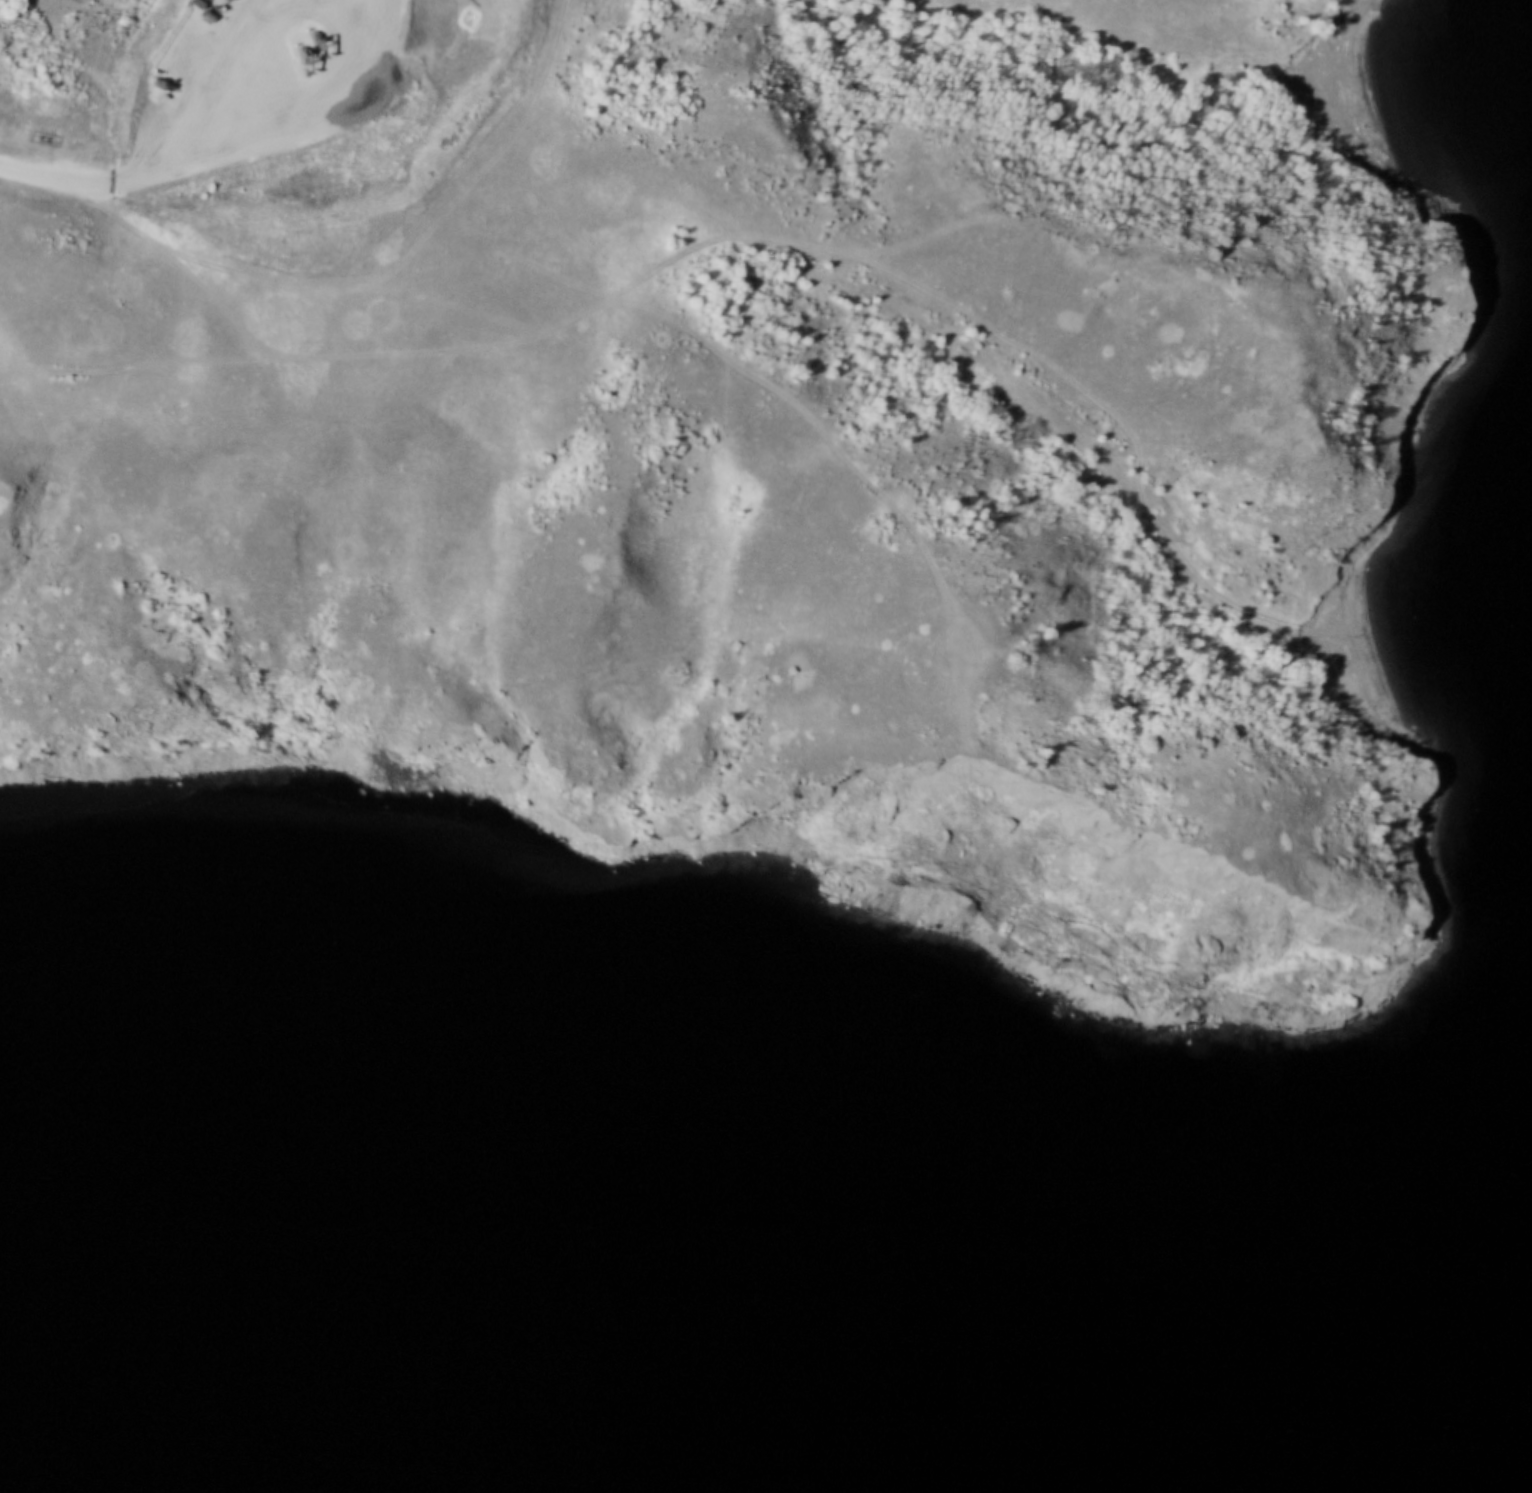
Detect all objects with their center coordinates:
petroleum well: (317, 34)
petroleum well: (302, 55)
building: (406, 73)
building: (344, 140)
building: (191, 155)
road: (298, 165)
building: (297, 183)
road: (655, 275)
road: (76, 374)
road: (833, 434)

